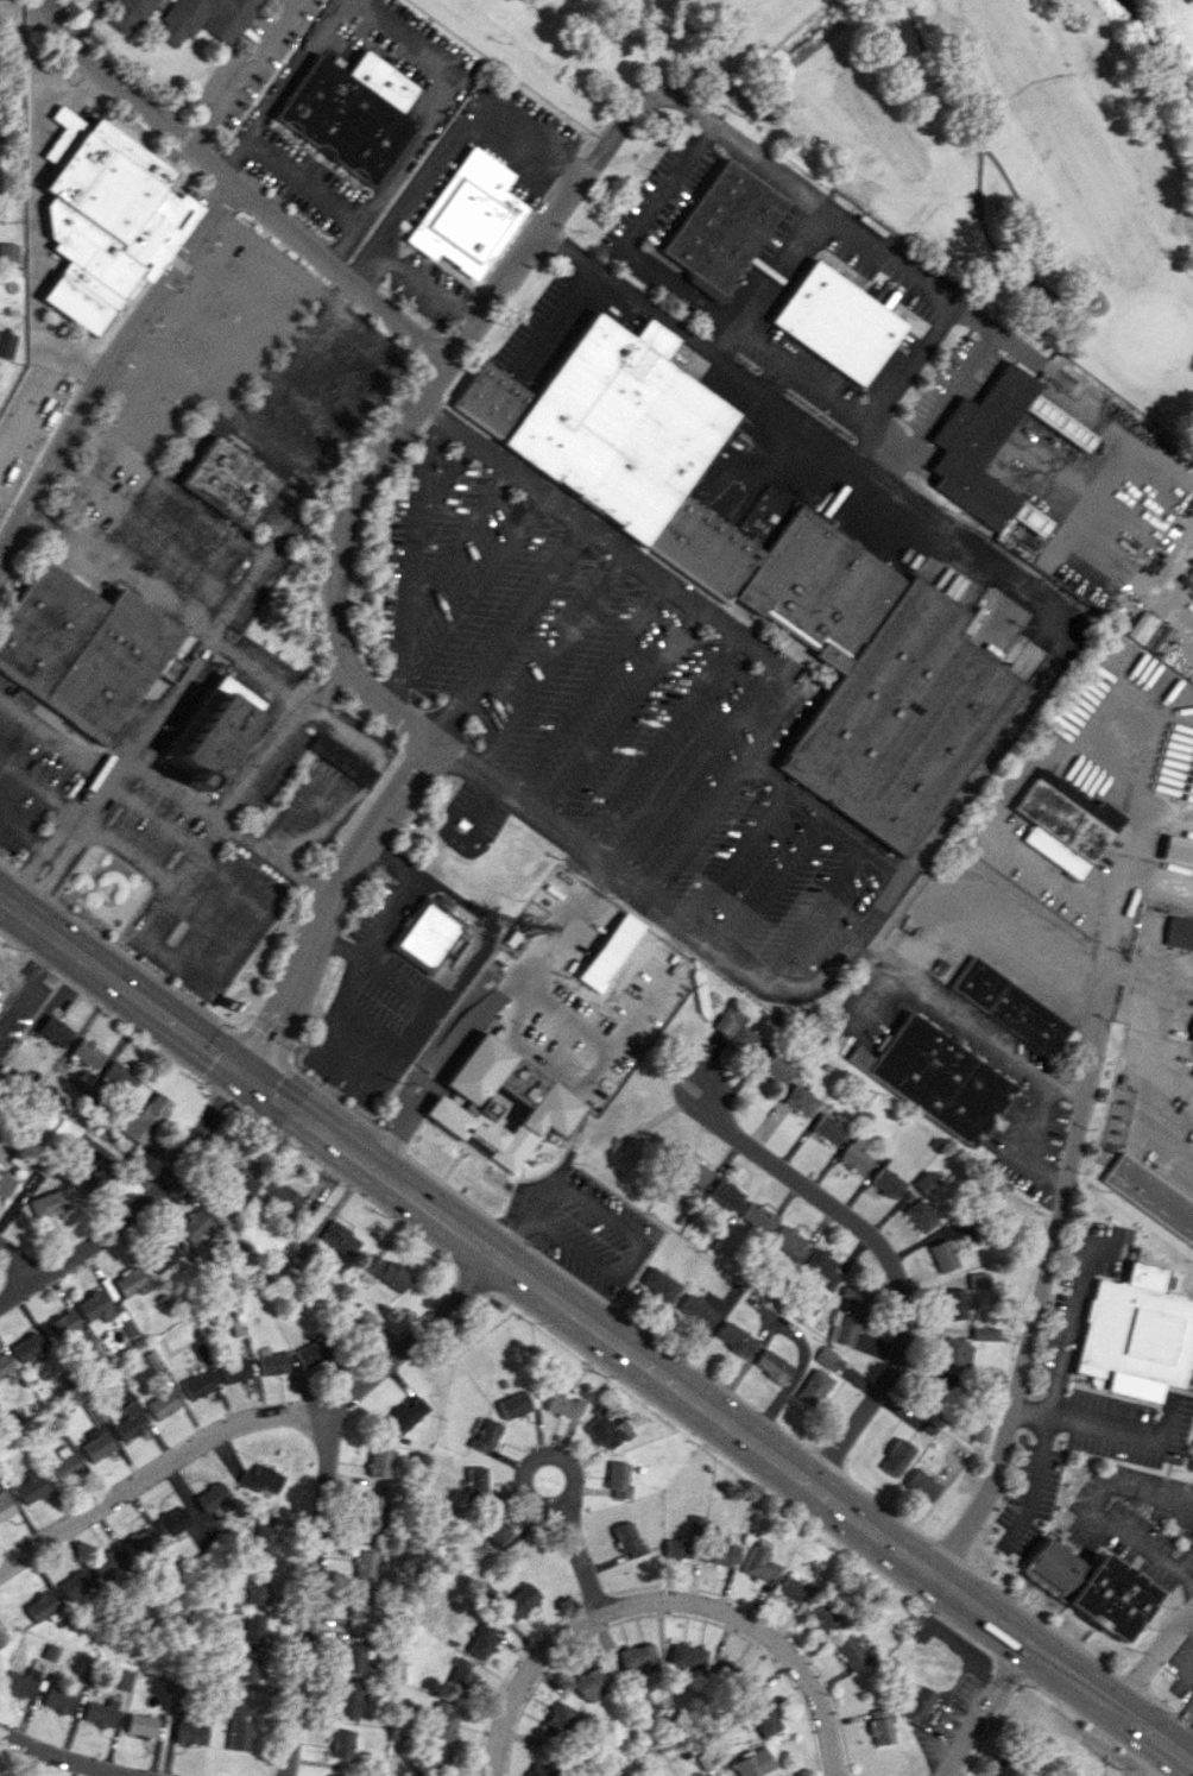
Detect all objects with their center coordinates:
building: (128, 14)
road: (81, 19)
building: (204, 19)
road: (293, 68)
road: (236, 70)
road: (440, 99)
building: (349, 112)
road: (462, 131)
park: (951, 140)
road: (189, 146)
road: (229, 153)
road: (301, 180)
building: (468, 215)
building: (106, 218)
road: (547, 225)
building: (721, 226)
road: (345, 244)
road: (882, 246)
road: (36, 251)
building: (7, 252)
road: (272, 257)
road: (360, 264)
road: (652, 271)
road: (765, 278)
road: (423, 284)
road: (341, 292)
road: (246, 294)
road: (396, 322)
building: (838, 322)
road: (216, 334)
building: (6, 344)
road: (1025, 358)
road: (337, 361)
road: (383, 361)
road: (109, 364)
road: (149, 410)
road: (244, 417)
road: (277, 445)
building: (966, 449)
road: (444, 474)
road: (164, 477)
building: (229, 481)
road: (215, 517)
road: (144, 527)
road: (456, 539)
road: (1053, 546)
road: (410, 559)
road: (120, 569)
building: (760, 572)
road: (1031, 582)
road: (469, 599)
road: (223, 615)
road: (715, 618)
road: (511, 634)
building: (82, 649)
road: (551, 662)
road: (261, 669)
road: (588, 688)
building: (225, 711)
road: (625, 716)
road: (408, 718)
road: (336, 722)
road: (1006, 724)
road: (52, 738)
road: (661, 742)
building: (342, 758)
road: (341, 760)
road: (700, 769)
road: (37, 788)
road: (823, 815)
building: (1065, 823)
road: (25, 832)
road: (239, 832)
building: (1178, 850)
road: (50, 851)
road: (194, 854)
road: (737, 854)
road: (206, 856)
road: (159, 877)
road: (774, 882)
road: (809, 909)
building: (1180, 932)
building: (428, 933)
road: (487, 933)
building: (606, 952)
road: (29, 976)
road: (1150, 976)
building: (1009, 1006)
road: (480, 1009)
road: (368, 1020)
building: (53, 1031)
building: (736, 1033)
building: (1191, 1033)
road: (618, 1039)
road: (989, 1039)
building: (1065, 1043)
building: (86, 1053)
building: (776, 1068)
traffic signals: (245, 1075)
building: (116, 1077)
building: (936, 1078)
building: (800, 1100)
building: (498, 1104)
building: (143, 1119)
building: (827, 1129)
road: (1034, 1138)
building: (854, 1155)
building: (694, 1171)
building: (90, 1177)
building: (236, 1178)
building: (886, 1178)
building: (924, 1182)
building: (5, 1183)
building: (726, 1194)
building: (280, 1195)
building: (1151, 1195)
building: (48, 1203)
road: (138, 1207)
building: (920, 1215)
road: (1053, 1216)
building: (758, 1217)
road: (530, 1218)
building: (192, 1227)
building: (340, 1237)
building: (788, 1239)
building: (160, 1255)
building: (942, 1255)
road: (888, 1259)
road: (18, 1262)
building: (820, 1267)
building: (386, 1272)
building: (978, 1279)
building: (130, 1281)
building: (658, 1284)
building: (954, 1304)
building: (94, 1306)
building: (696, 1311)
building: (847, 1317)
building: (59, 1327)
road: (596, 1329)
building: (984, 1333)
building: (1136, 1336)
building: (734, 1339)
building: (26, 1347)
building: (311, 1353)
building: (954, 1353)
building: (825, 1355)
building: (271, 1361)
building: (4, 1365)
building: (771, 1366)
building: (234, 1371)
building: (197, 1385)
building: (813, 1387)
building: (933, 1394)
building: (162, 1404)
building: (513, 1405)
building: (564, 1405)
building: (405, 1416)
building: (128, 1422)
building: (605, 1428)
road: (1105, 1428)
building: (486, 1435)
building: (95, 1444)
building: (895, 1456)
road: (535, 1460)
building: (380, 1463)
building: (63, 1465)
road: (158, 1468)
road: (1035, 1475)
building: (260, 1479)
building: (476, 1479)
building: (618, 1479)
road: (327, 1484)
building: (921, 1485)
building: (31, 1486)
building: (212, 1497)
building: (5, 1505)
building: (373, 1509)
road: (1092, 1512)
building: (172, 1520)
building: (493, 1526)
building: (627, 1538)
building: (140, 1541)
building: (263, 1544)
building: (677, 1548)
building: (721, 1548)
road: (582, 1558)
road: (1183, 1561)
building: (108, 1563)
building: (365, 1564)
building: (759, 1566)
building: (1052, 1566)
building: (75, 1585)
building: (258, 1589)
building: (793, 1589)
building: (1110, 1596)
building: (520, 1600)
road: (663, 1601)
building: (43, 1607)
building: (360, 1610)
building: (823, 1618)
road: (1188, 1620)
building: (251, 1629)
building: (482, 1639)
building: (1, 1640)
building: (850, 1652)
building: (687, 1655)
building: (636, 1656)
road: (1151, 1656)
building: (354, 1657)
building: (248, 1665)
building: (728, 1670)
building: (86, 1675)
building: (460, 1677)
building: (120, 1679)
building: (20, 1682)
building: (593, 1682)
building: (61, 1698)
building: (348, 1699)
building: (642, 1699)
building: (916, 1703)
road: (986, 1709)
building: (101, 1713)
building: (757, 1717)
road: (1175, 1718)
building: (558, 1720)
building: (444, 1721)
building: (141, 1725)
building: (879, 1726)
building: (239, 1727)
building: (190, 1733)
building: (342, 1743)
building: (438, 1756)
road: (58, 1757)
building: (753, 1763)
building: (1008, 1768)
building: (542, 1769)
building: (333, 1775)

